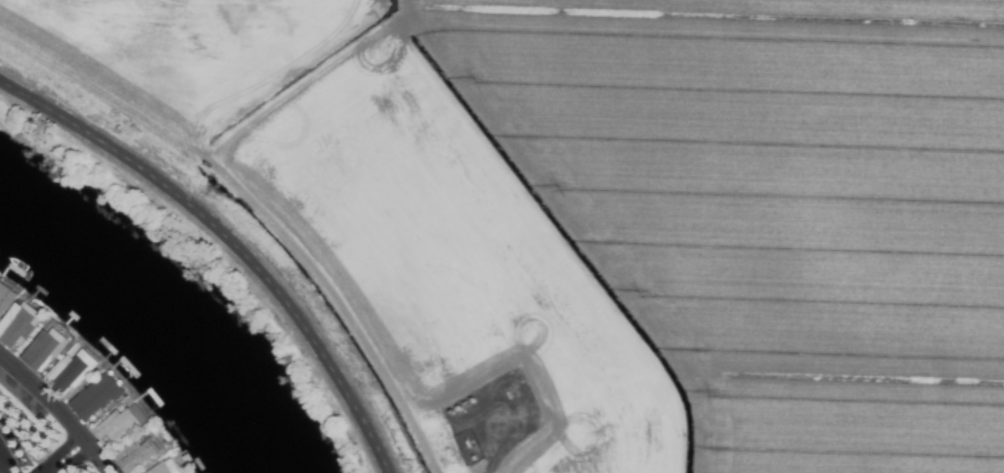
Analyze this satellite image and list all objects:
crop: (599, 213)
road: (227, 244)
building: (5, 298)
building: (16, 326)
building: (43, 349)
building: (69, 372)
building: (95, 397)
road: (56, 414)
building: (115, 427)
road: (55, 452)
building: (137, 455)
road: (4, 466)
road: (50, 467)
building: (165, 467)

